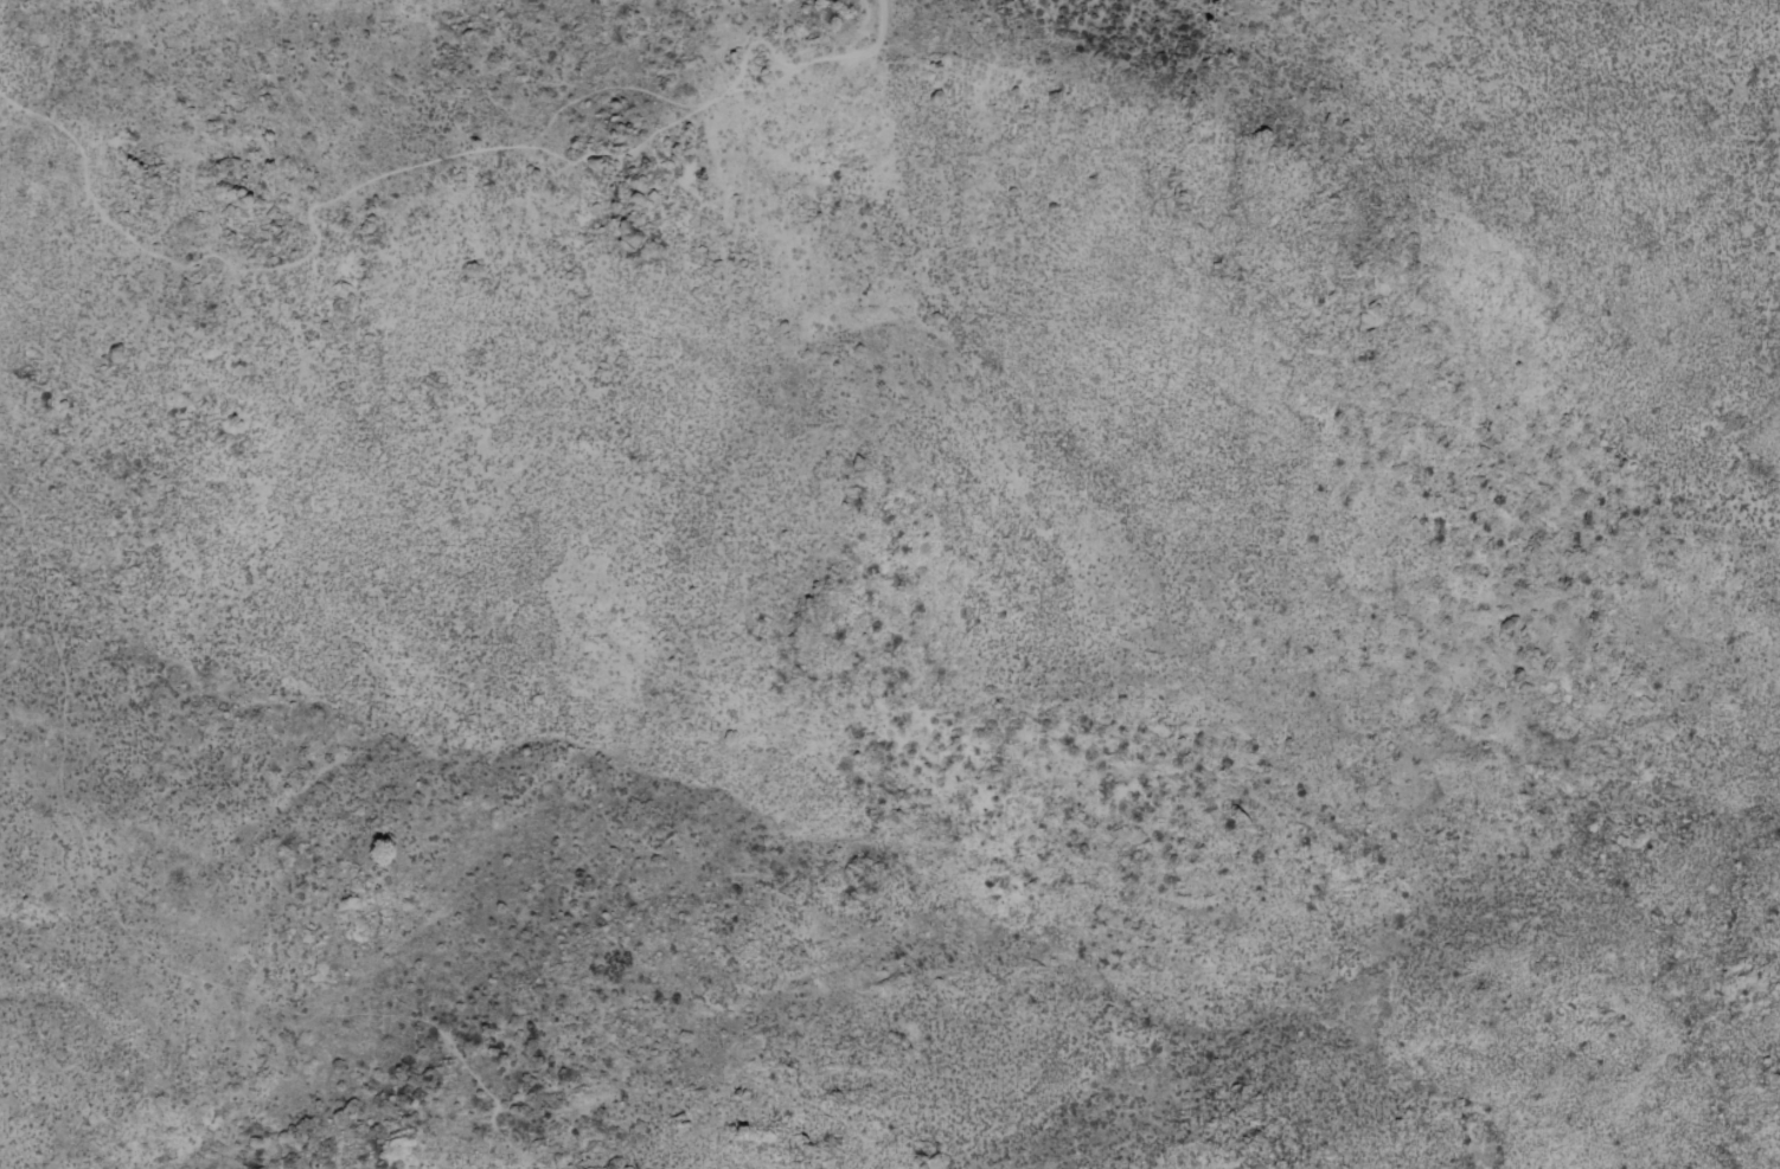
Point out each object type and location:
road: (862, 31)
road: (761, 41)
road: (8, 111)
road: (405, 169)

